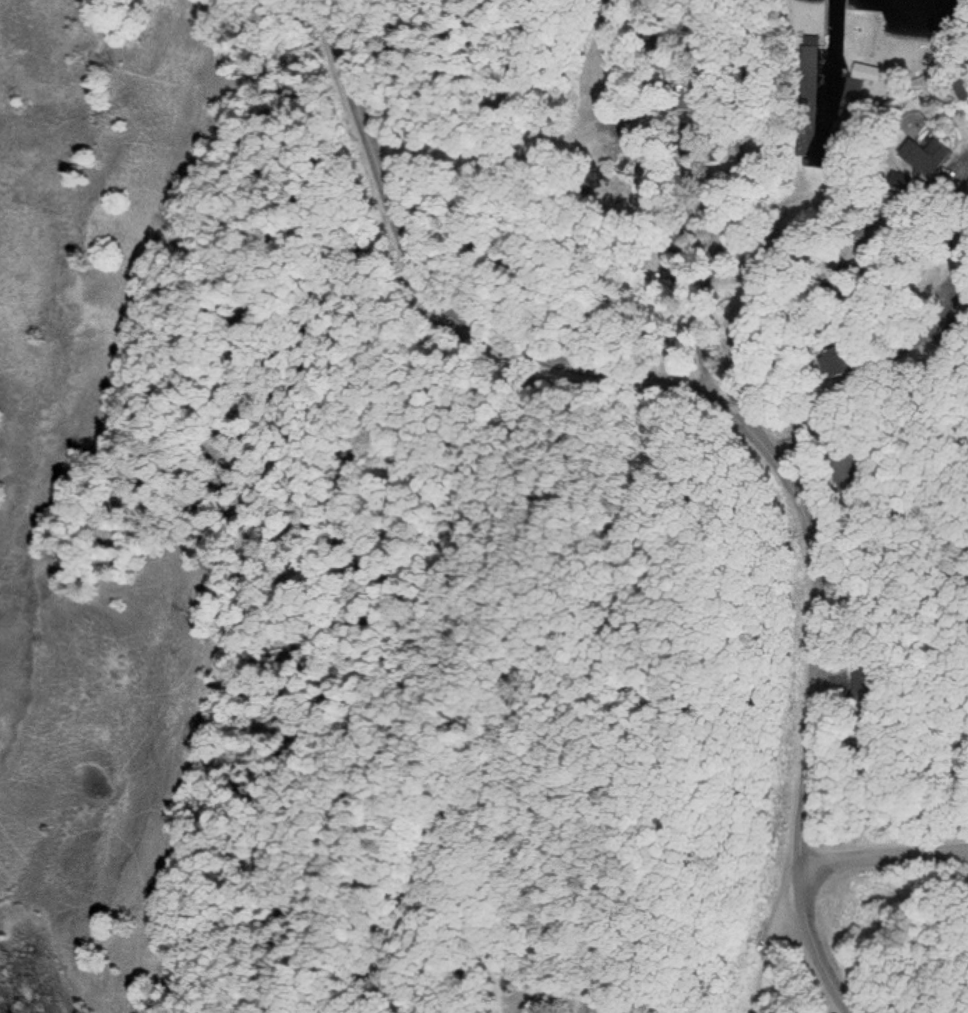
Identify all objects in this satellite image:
road: (507, 77)
building: (936, 153)
road: (951, 192)
road: (732, 221)
road: (847, 306)
road: (863, 383)
road: (733, 408)
park: (347, 591)
road: (883, 856)

